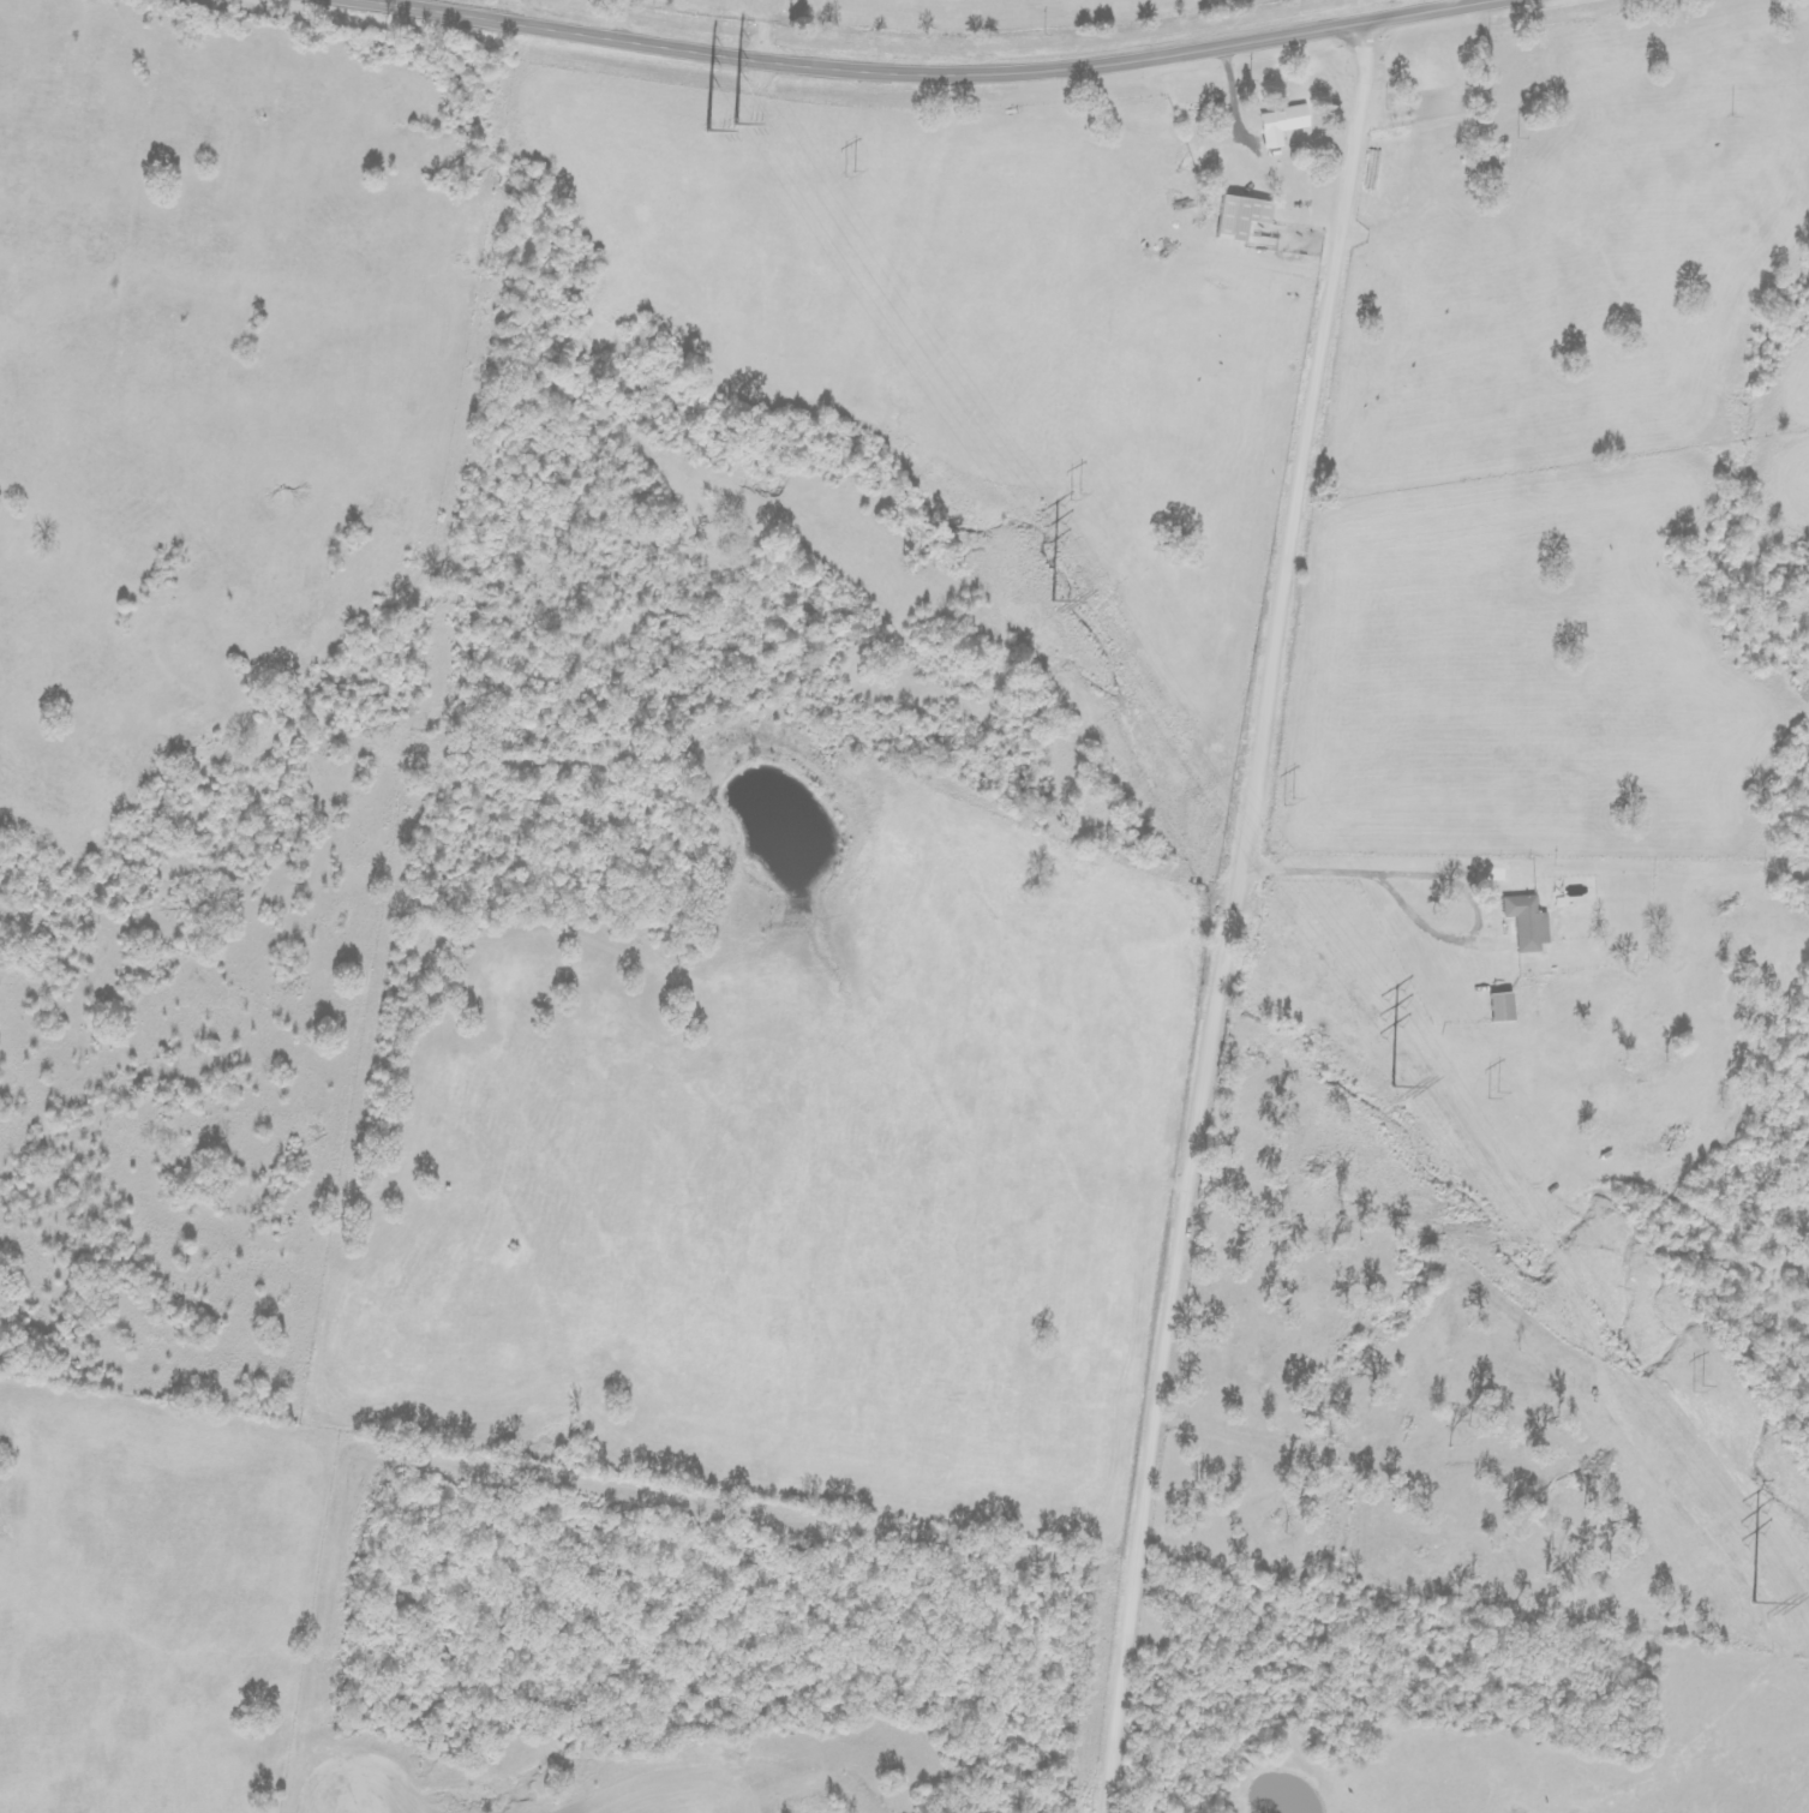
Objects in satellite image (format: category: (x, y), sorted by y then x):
road: (930, 72)
power tower: (718, 119)
building: (1281, 125)
power tower: (847, 178)
building: (1241, 217)
power tower: (1073, 499)
power tower: (1047, 592)
power tower: (1281, 803)
road: (1242, 914)
building: (1527, 922)
building: (1502, 1006)
power tower: (1386, 1075)
power tower: (1466, 1097)
power tower: (1672, 1388)
power tower: (1750, 1592)

